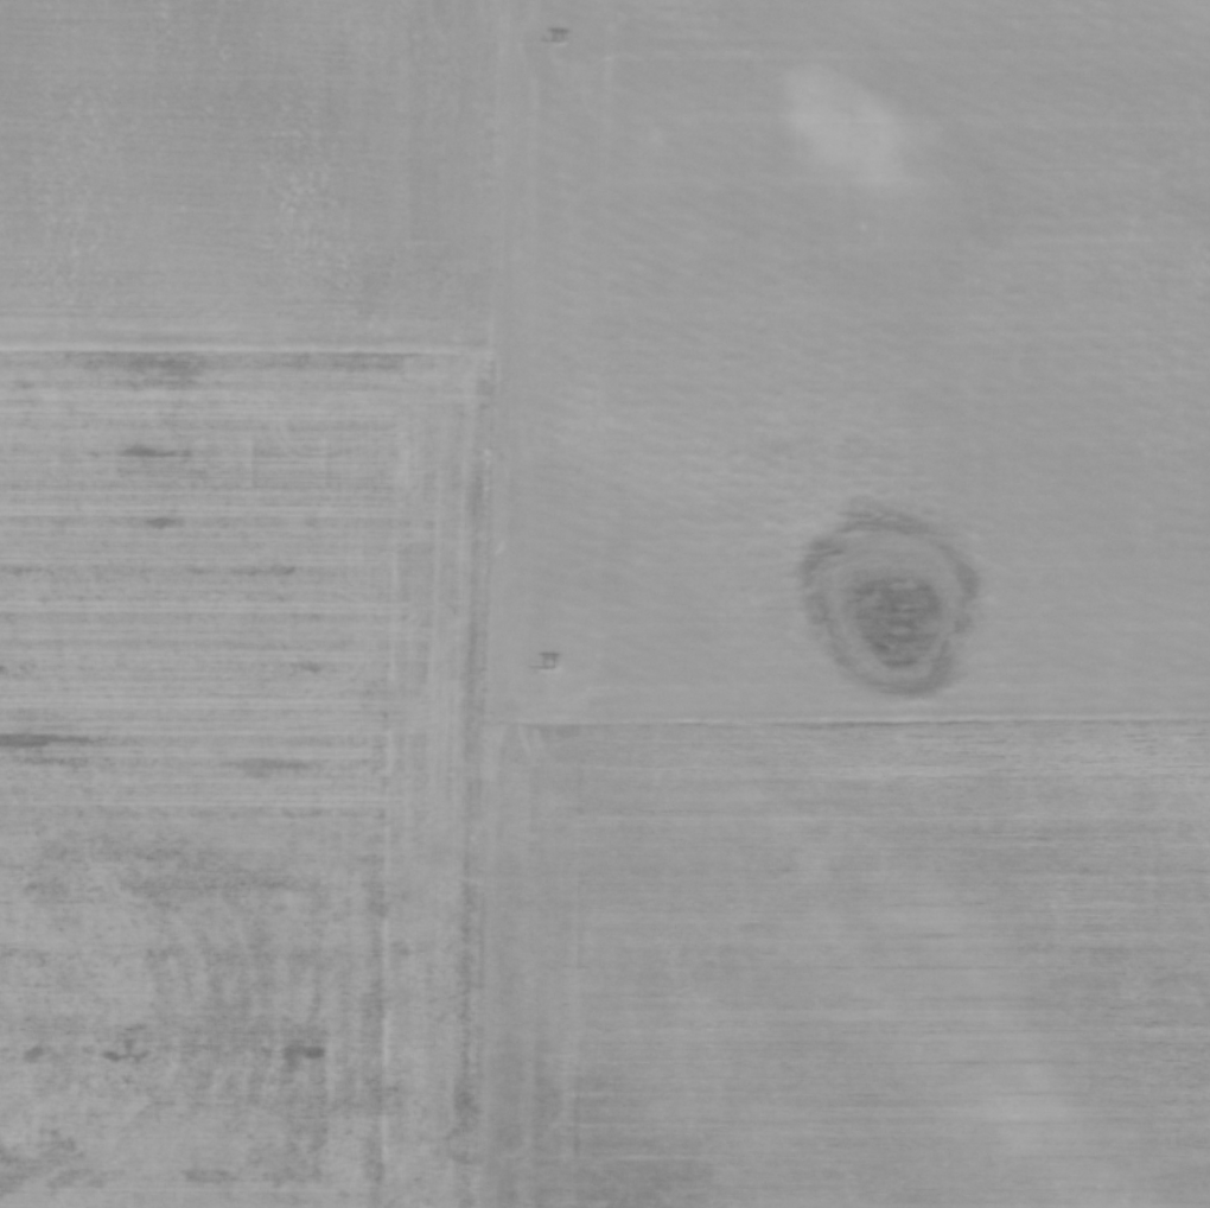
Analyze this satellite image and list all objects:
power tower: (558, 40)
crop: (605, 604)
power tower: (547, 666)

